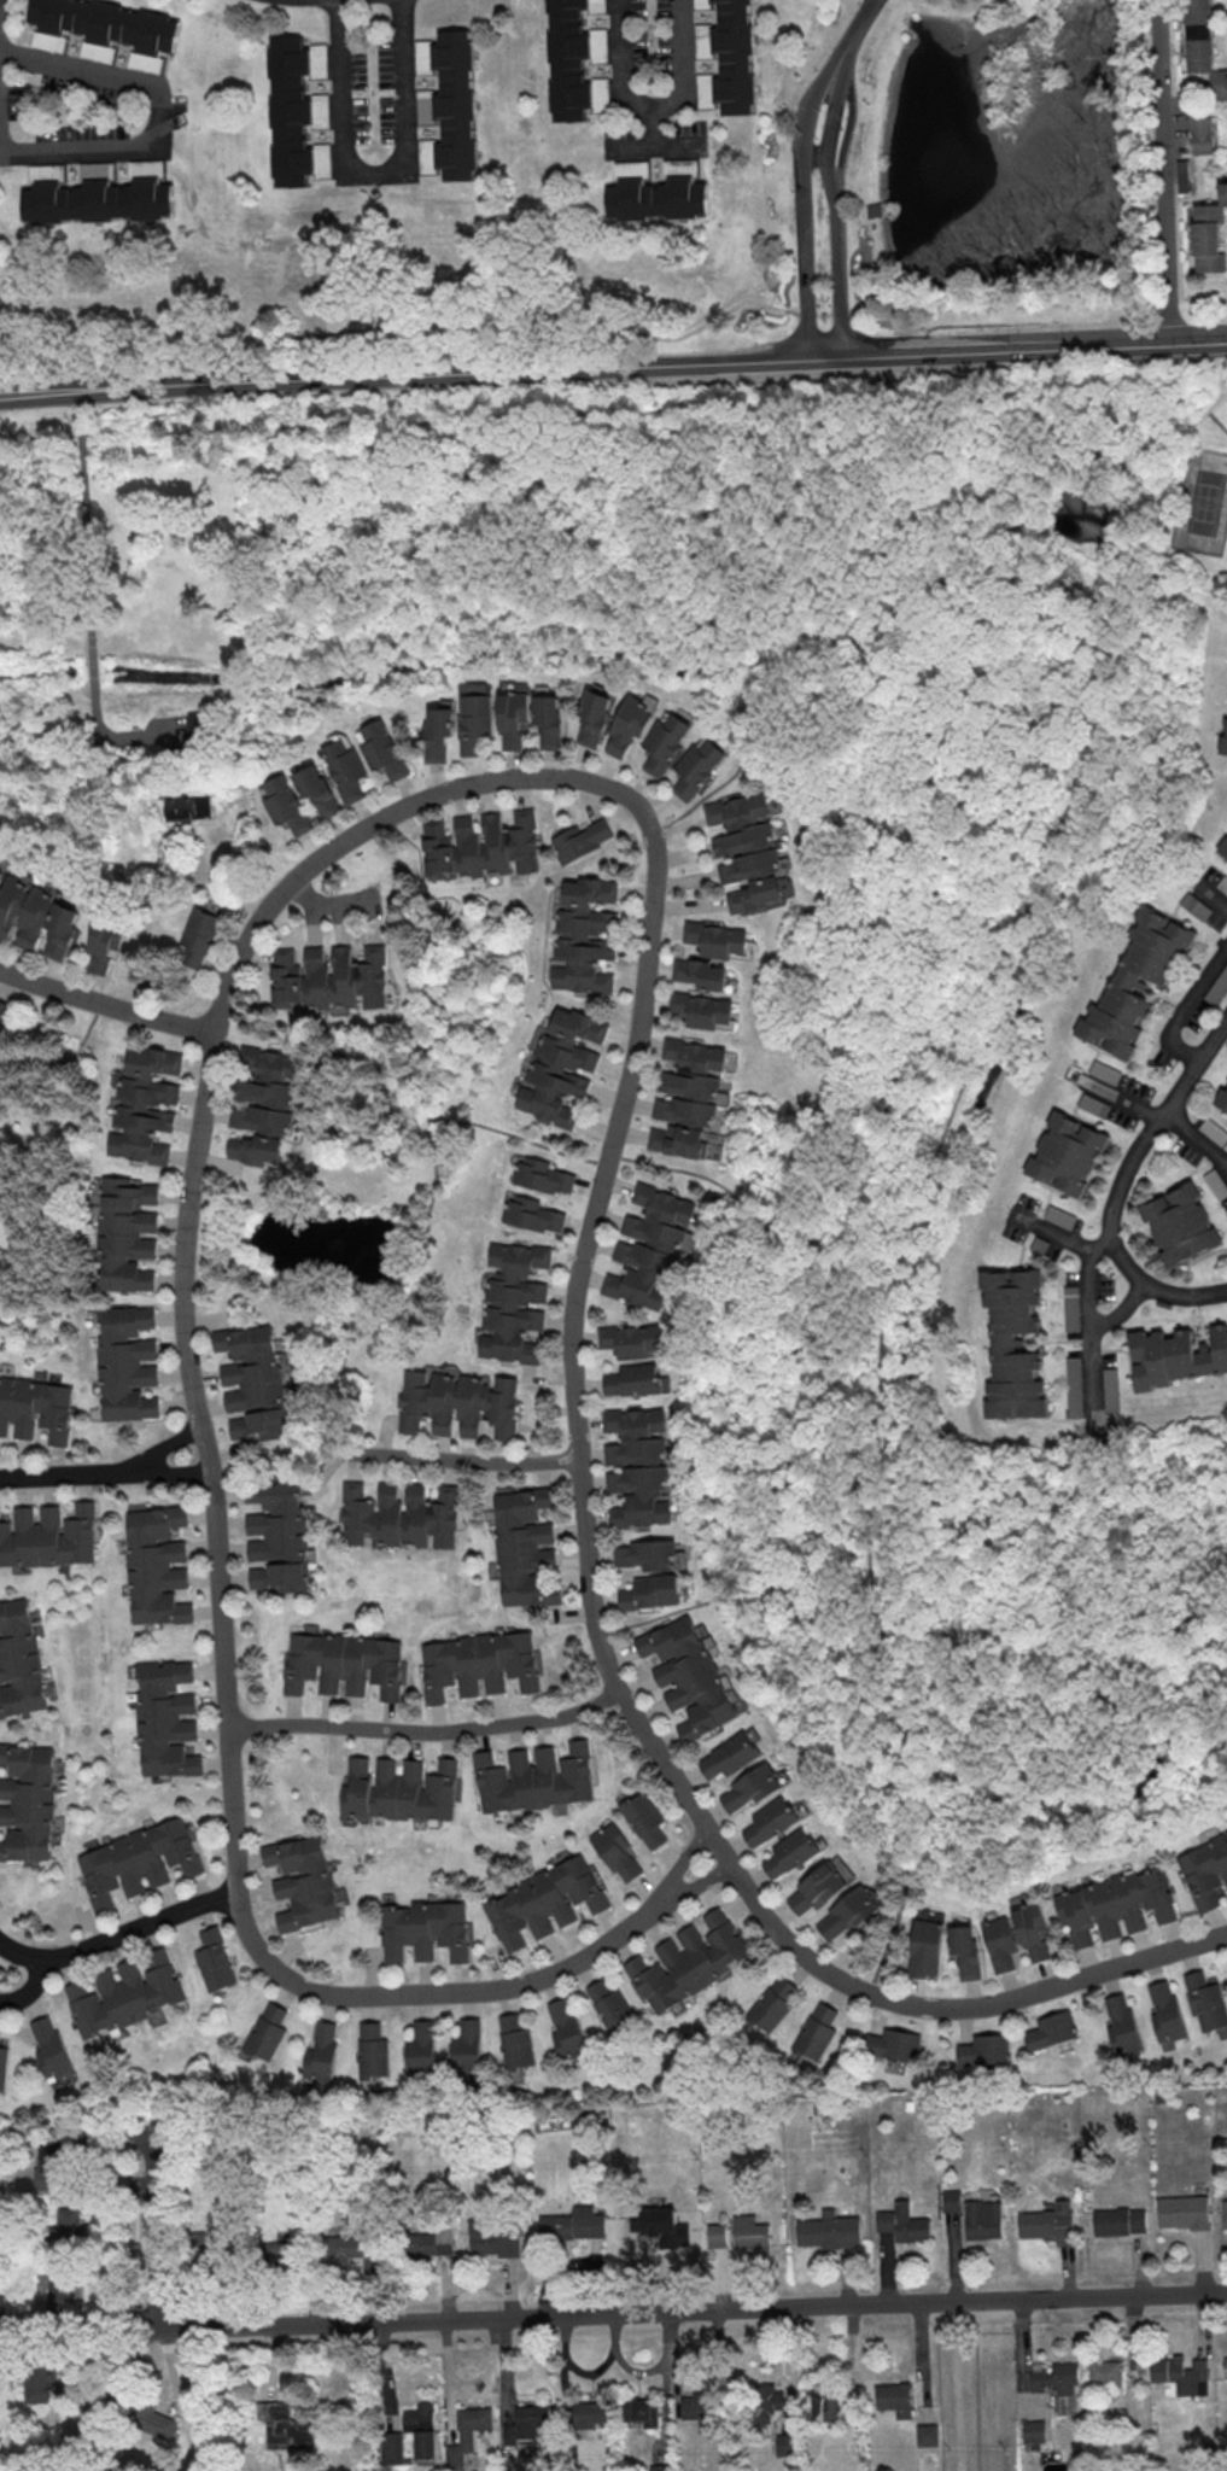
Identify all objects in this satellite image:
parking lot: (1226, 17)
road: (858, 21)
building: (103, 24)
building: (1203, 47)
building: (732, 58)
building: (567, 60)
road: (78, 70)
road: (338, 74)
road: (822, 74)
road: (840, 78)
building: (454, 106)
road: (652, 106)
building: (288, 113)
road: (159, 116)
road: (402, 117)
road: (652, 127)
building: (1199, 136)
road: (652, 146)
road: (80, 147)
road: (811, 156)
road: (1161, 173)
building: (95, 201)
building: (655, 201)
road: (801, 233)
road: (834, 235)
building: (1209, 235)
road: (1034, 305)
road: (837, 311)
road: (805, 315)
road: (822, 315)
road: (404, 323)
road: (1197, 344)
road: (624, 367)
road: (40, 389)
road: (642, 413)
park: (1204, 504)
road: (81, 522)
road: (88, 671)
building: (514, 720)
building: (592, 720)
building: (477, 722)
building: (549, 722)
building: (1225, 723)
building: (627, 725)
building: (198, 728)
building: (439, 731)
road: (116, 736)
building: (1223, 743)
building: (662, 744)
building: (382, 748)
building: (346, 767)
building: (694, 770)
building: (319, 791)
building: (286, 802)
building: (187, 808)
building: (584, 839)
building: (481, 843)
building: (1223, 849)
building: (746, 852)
building: (1222, 883)
road: (1213, 894)
building: (1196, 906)
building: (37, 917)
building: (203, 935)
building: (586, 935)
building: (712, 937)
building: (104, 946)
building: (702, 974)
building: (329, 976)
building: (1137, 981)
building: (1217, 987)
road: (106, 1005)
road: (1187, 1007)
building: (697, 1009)
building: (2, 1011)
road: (982, 1028)
building: (559, 1065)
building: (1105, 1071)
building: (1222, 1098)
building: (684, 1099)
road: (1121, 1099)
building: (146, 1102)
building: (264, 1104)
building: (1094, 1104)
building: (1214, 1131)
road: (1196, 1138)
road: (609, 1147)
building: (1068, 1152)
road: (671, 1169)
building: (545, 1175)
building: (1216, 1182)
road: (1120, 1184)
building: (1226, 1208)
building: (534, 1213)
building: (1061, 1216)
building: (1180, 1225)
building: (128, 1233)
road: (1061, 1237)
building: (647, 1246)
road: (425, 1250)
building: (515, 1301)
building: (1071, 1307)
road: (1122, 1312)
road: (1093, 1338)
building: (633, 1339)
building: (1015, 1340)
building: (1173, 1356)
building: (125, 1361)
building: (251, 1367)
building: (636, 1379)
building: (1074, 1385)
building: (1111, 1397)
building: (461, 1403)
building: (35, 1407)
building: (259, 1425)
road: (164, 1448)
road: (460, 1459)
building: (637, 1467)
road: (169, 1471)
road: (62, 1474)
building: (401, 1514)
building: (47, 1536)
building: (277, 1536)
building: (527, 1547)
building: (647, 1555)
building: (153, 1565)
building: (653, 1593)
road: (736, 1601)
building: (17, 1659)
building: (344, 1663)
building: (480, 1664)
building: (690, 1677)
building: (162, 1717)
road: (285, 1725)
road: (485, 1727)
building: (730, 1757)
building: (532, 1777)
building: (750, 1788)
building: (397, 1789)
building: (27, 1801)
building: (645, 1819)
building: (771, 1821)
building: (619, 1852)
building: (791, 1852)
building: (136, 1859)
road: (679, 1862)
building: (1205, 1869)
building: (303, 1880)
road: (696, 1886)
building: (820, 1886)
building: (543, 1902)
building: (1116, 1905)
building: (847, 1914)
road: (245, 1922)
building: (422, 1929)
building: (1032, 1932)
road: (119, 1934)
building: (995, 1943)
building: (922, 1947)
building: (959, 1950)
building: (216, 1958)
building: (690, 1959)
road: (31, 1987)
building: (123, 1993)
building: (1204, 2000)
building: (775, 2003)
building: (613, 2008)
building: (1163, 2011)
building: (1120, 2023)
building: (568, 2028)
building: (1050, 2029)
building: (270, 2031)
building: (816, 2032)
building: (518, 2039)
building: (468, 2043)
building: (892, 2044)
building: (49, 2045)
building: (421, 2048)
building: (323, 2049)
building: (374, 2049)
building: (982, 2050)
building: (2, 2063)
building: (54, 2162)
building: (948, 2200)
building: (1181, 2210)
building: (1222, 2213)
building: (980, 2219)
building: (1116, 2220)
building: (65, 2222)
building: (901, 2222)
building: (1047, 2222)
building: (569, 2224)
building: (826, 2230)
building: (748, 2231)
building: (714, 2235)
building: (491, 2238)
building: (425, 2241)
building: (357, 2247)
building: (195, 2248)
building: (274, 2253)
building: (57, 2283)
road: (592, 2315)
road: (650, 2366)
building: (1223, 2366)
building: (37, 2370)
road: (585, 2372)
building: (1103, 2372)
building: (1178, 2373)
building: (1053, 2377)
road: (978, 2387)
building: (892, 2397)
building: (770, 2399)
building: (830, 2401)
building: (638, 2409)
building: (697, 2411)
building: (141, 2413)
building: (586, 2413)
building: (522, 2423)
building: (281, 2425)
building: (419, 2428)
building: (1029, 2430)
building: (463, 2431)
building: (923, 2434)
building: (787, 2444)
building: (661, 2470)

